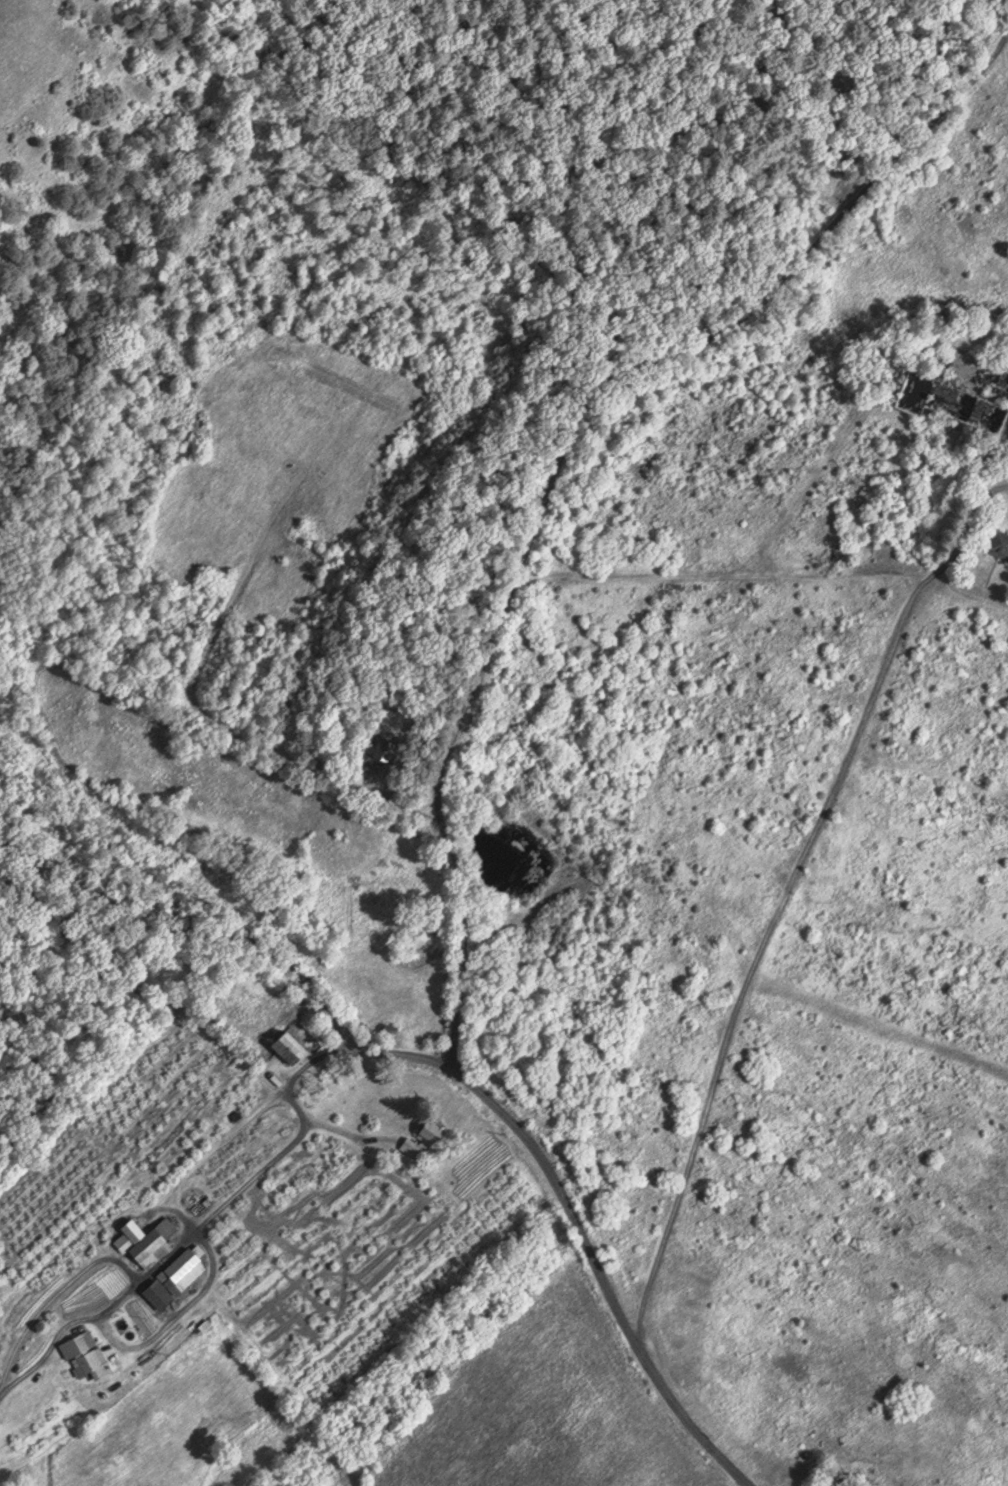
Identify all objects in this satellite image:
building: (979, 411)
road: (530, 507)
road: (795, 917)
road: (253, 954)
building: (293, 1050)
building: (424, 1138)
building: (143, 1241)
building: (174, 1278)
road: (609, 1299)
building: (82, 1357)
building: (2, 1378)
building: (828, 1479)

